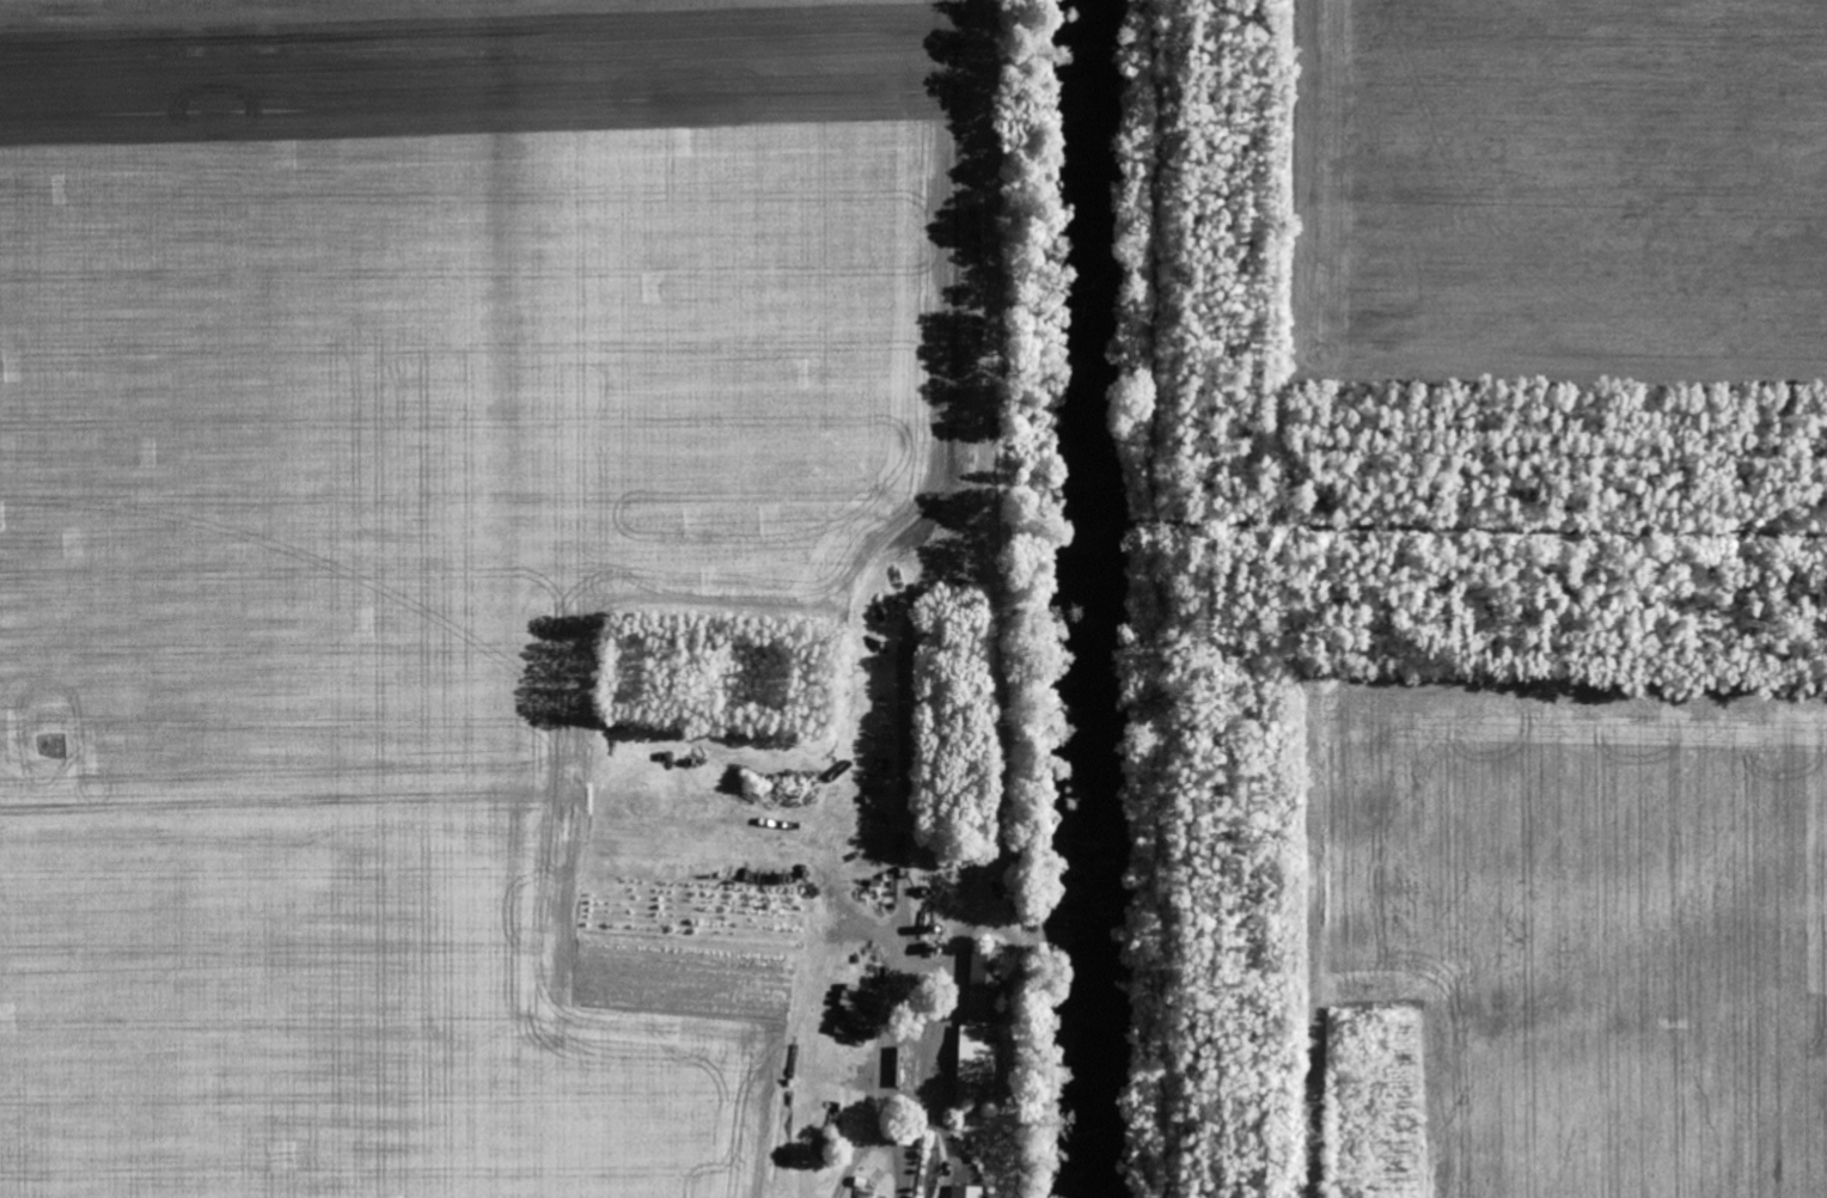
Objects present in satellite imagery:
building: (990, 986)
building: (983, 1070)
road: (884, 1076)
building: (971, 1191)

